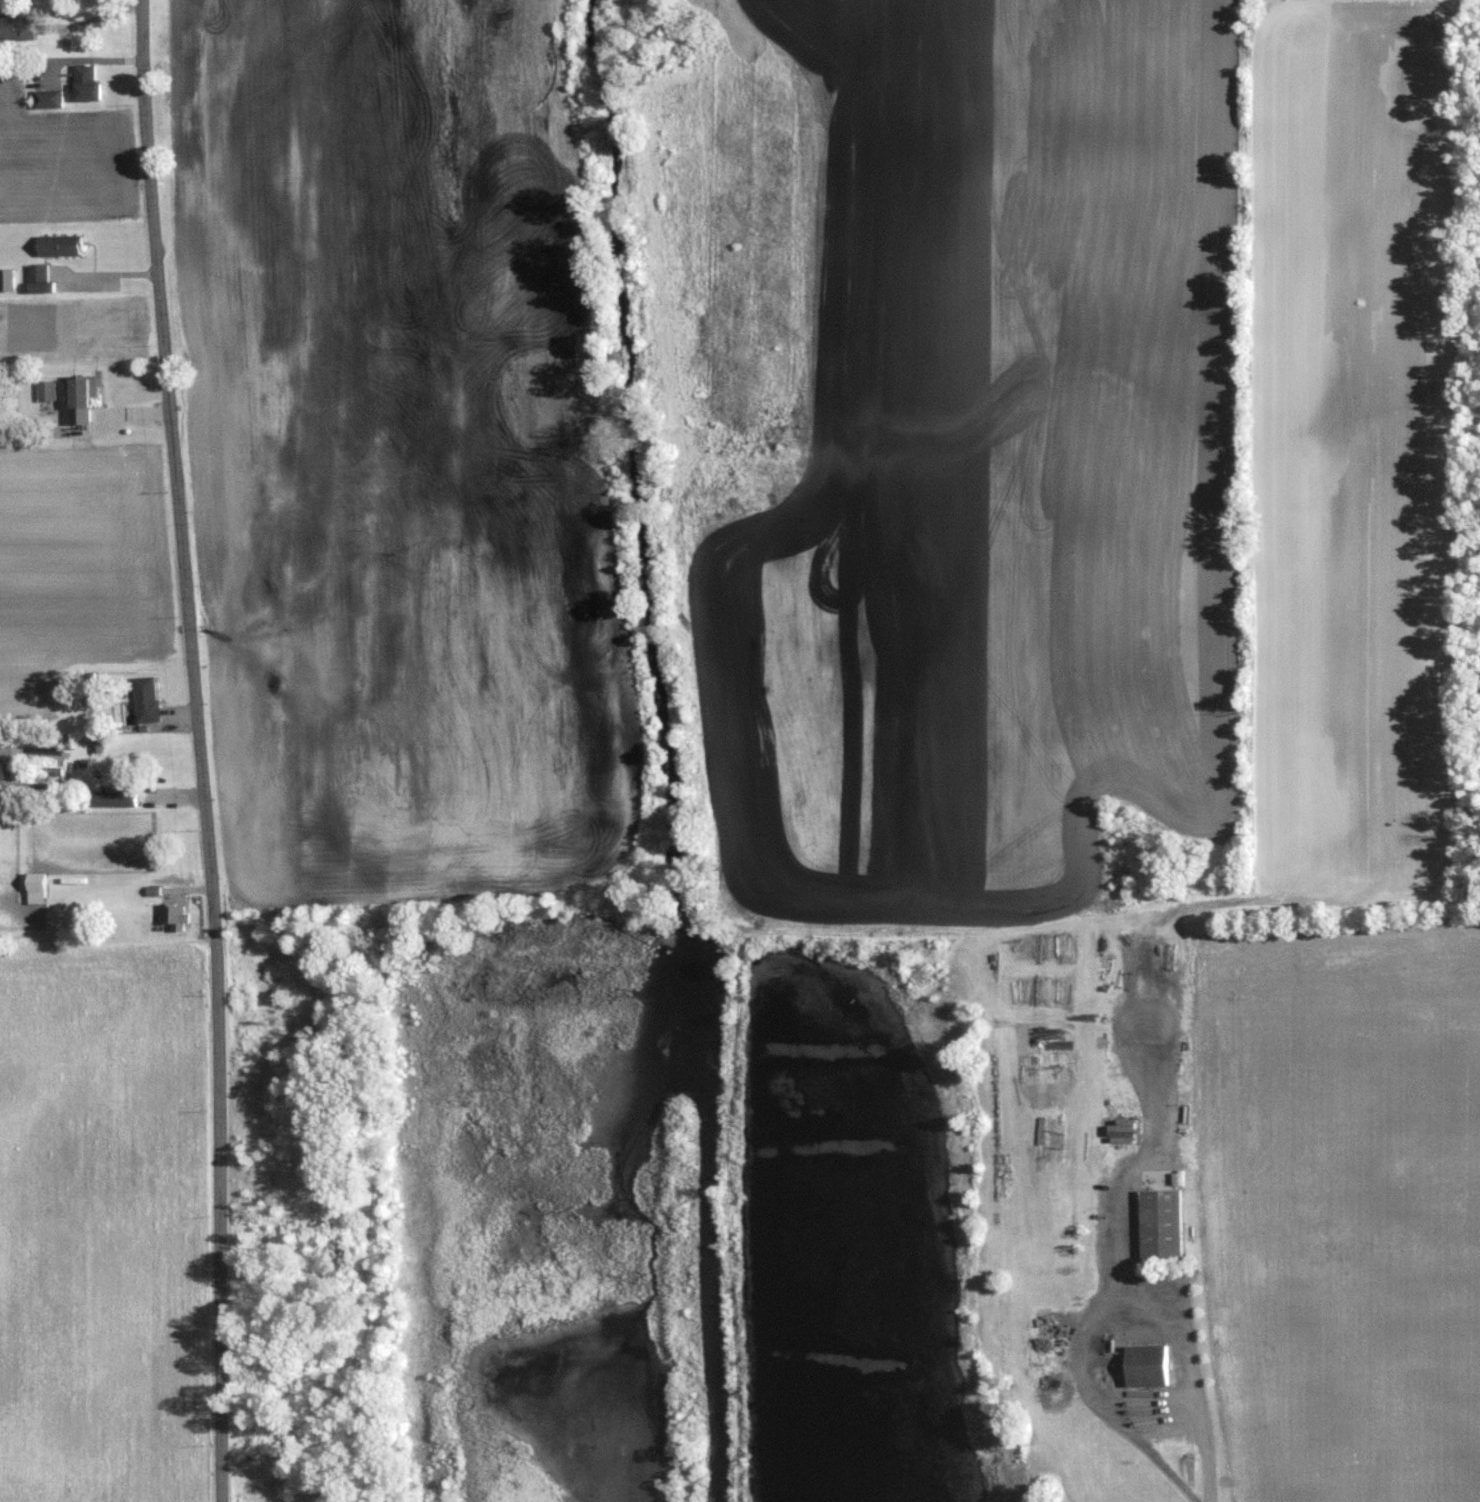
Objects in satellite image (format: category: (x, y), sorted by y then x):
building: (17, 26)
building: (85, 83)
building: (47, 99)
building: (59, 245)
building: (39, 279)
building: (6, 280)
building: (46, 398)
building: (81, 400)
building: (145, 698)
road: (201, 750)
building: (111, 798)
building: (35, 887)
building: (172, 916)
building: (1122, 1133)
building: (1160, 1222)
crop: (103, 1225)
building: (1145, 1364)
road: (1150, 1407)

